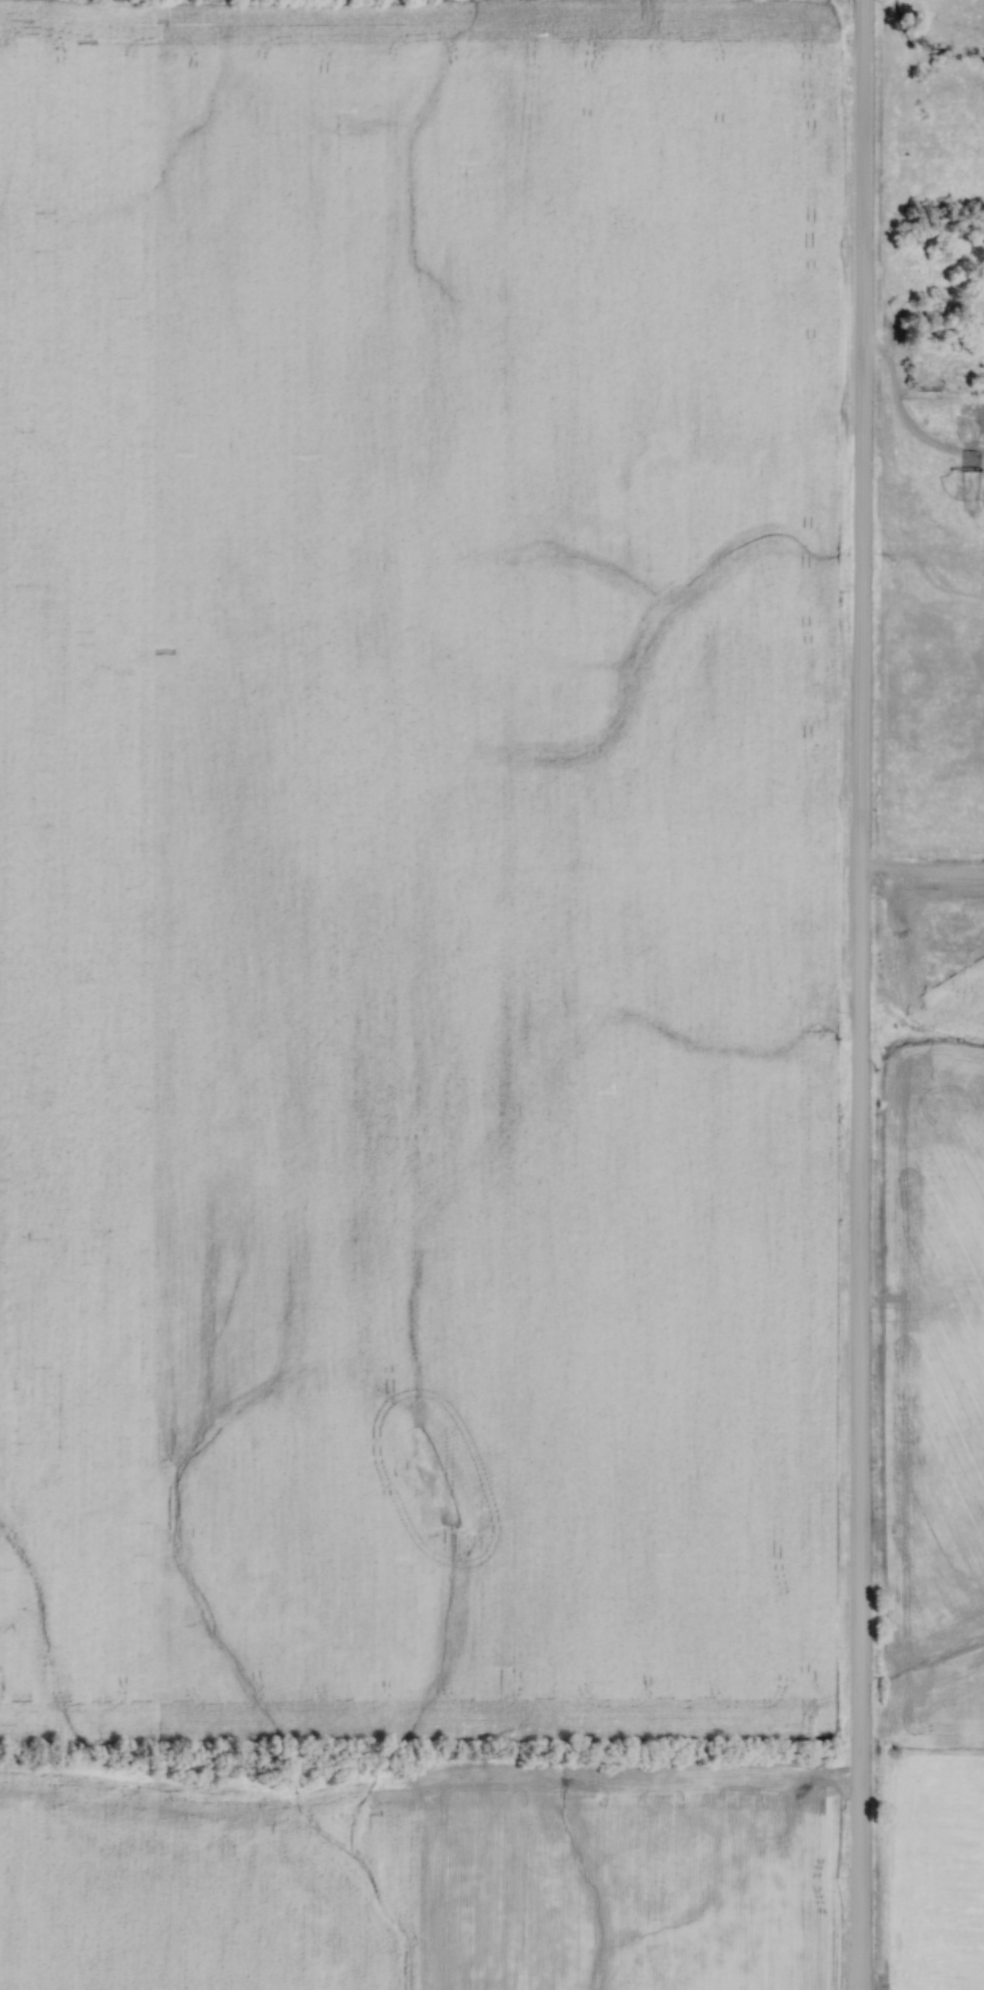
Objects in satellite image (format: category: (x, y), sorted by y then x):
road: (857, 995)

